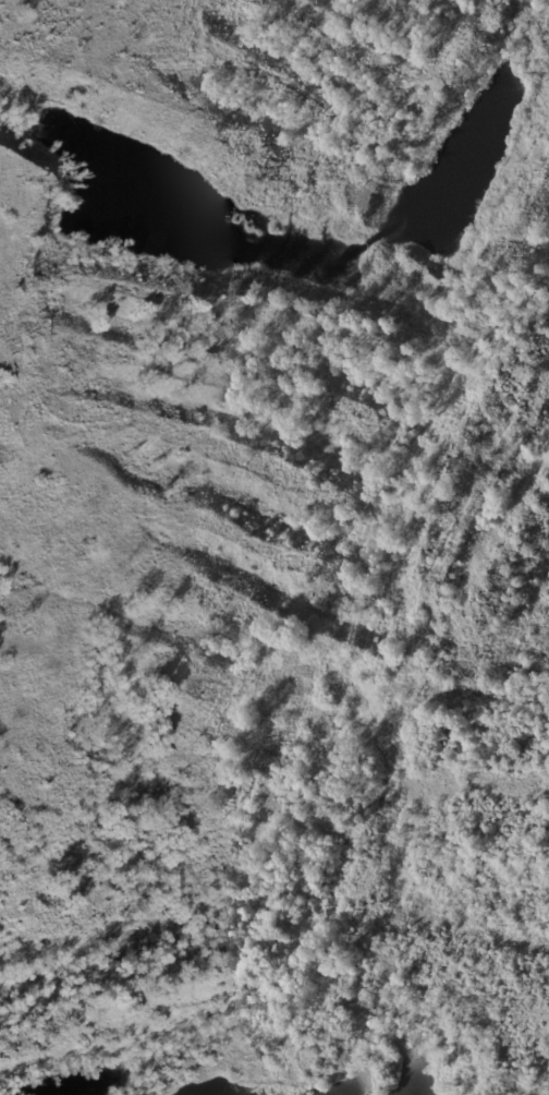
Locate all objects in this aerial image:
road: (274, 893)
road: (274, 920)

